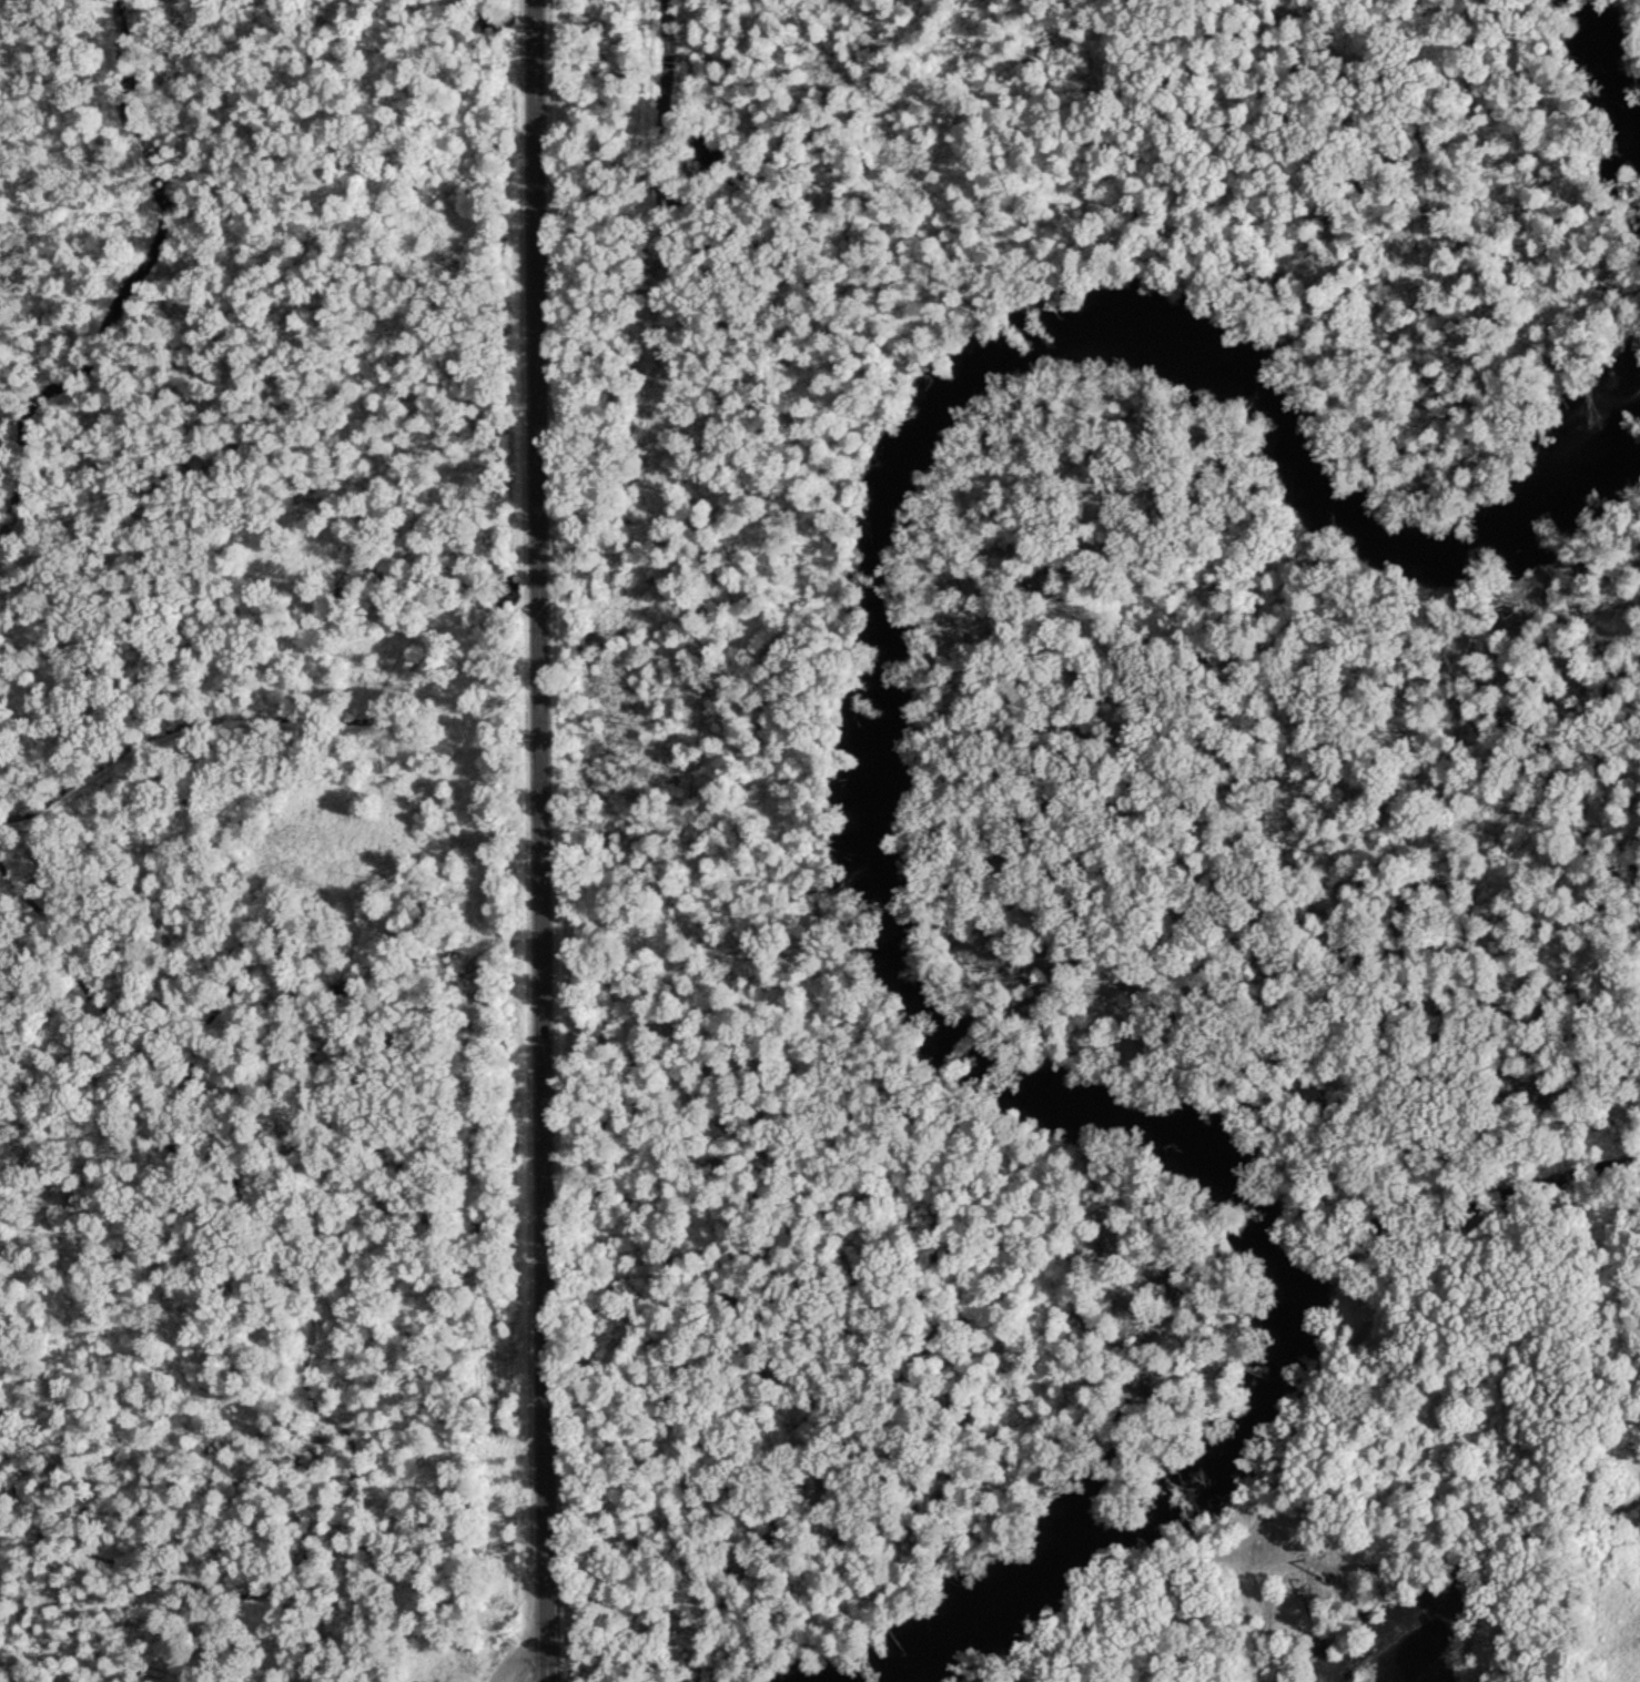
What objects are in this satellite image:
river: (1597, 70)
road: (523, 841)
river: (885, 854)
road: (1192, 1624)

